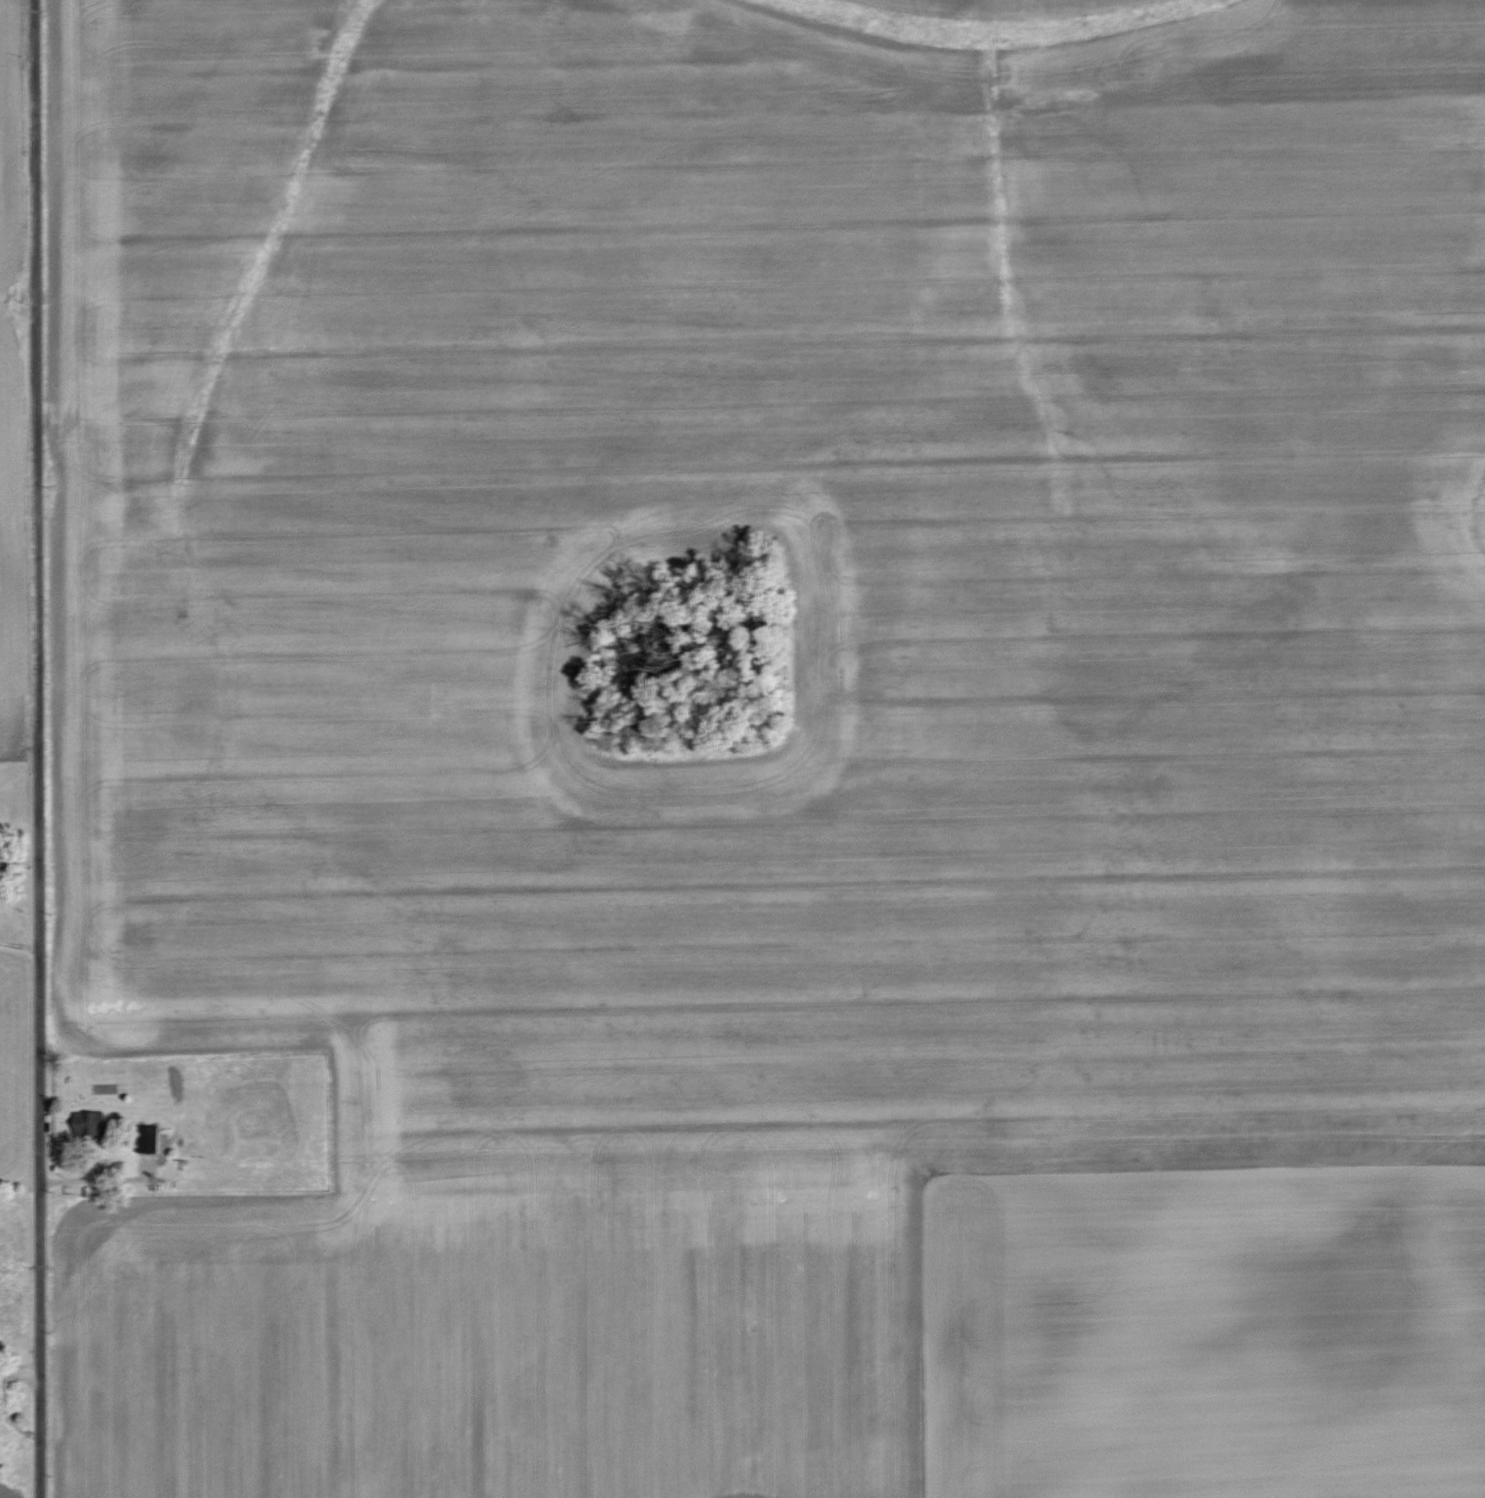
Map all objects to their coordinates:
road: (35, 749)
road: (18, 948)
building: (89, 1122)
road: (14, 1370)

